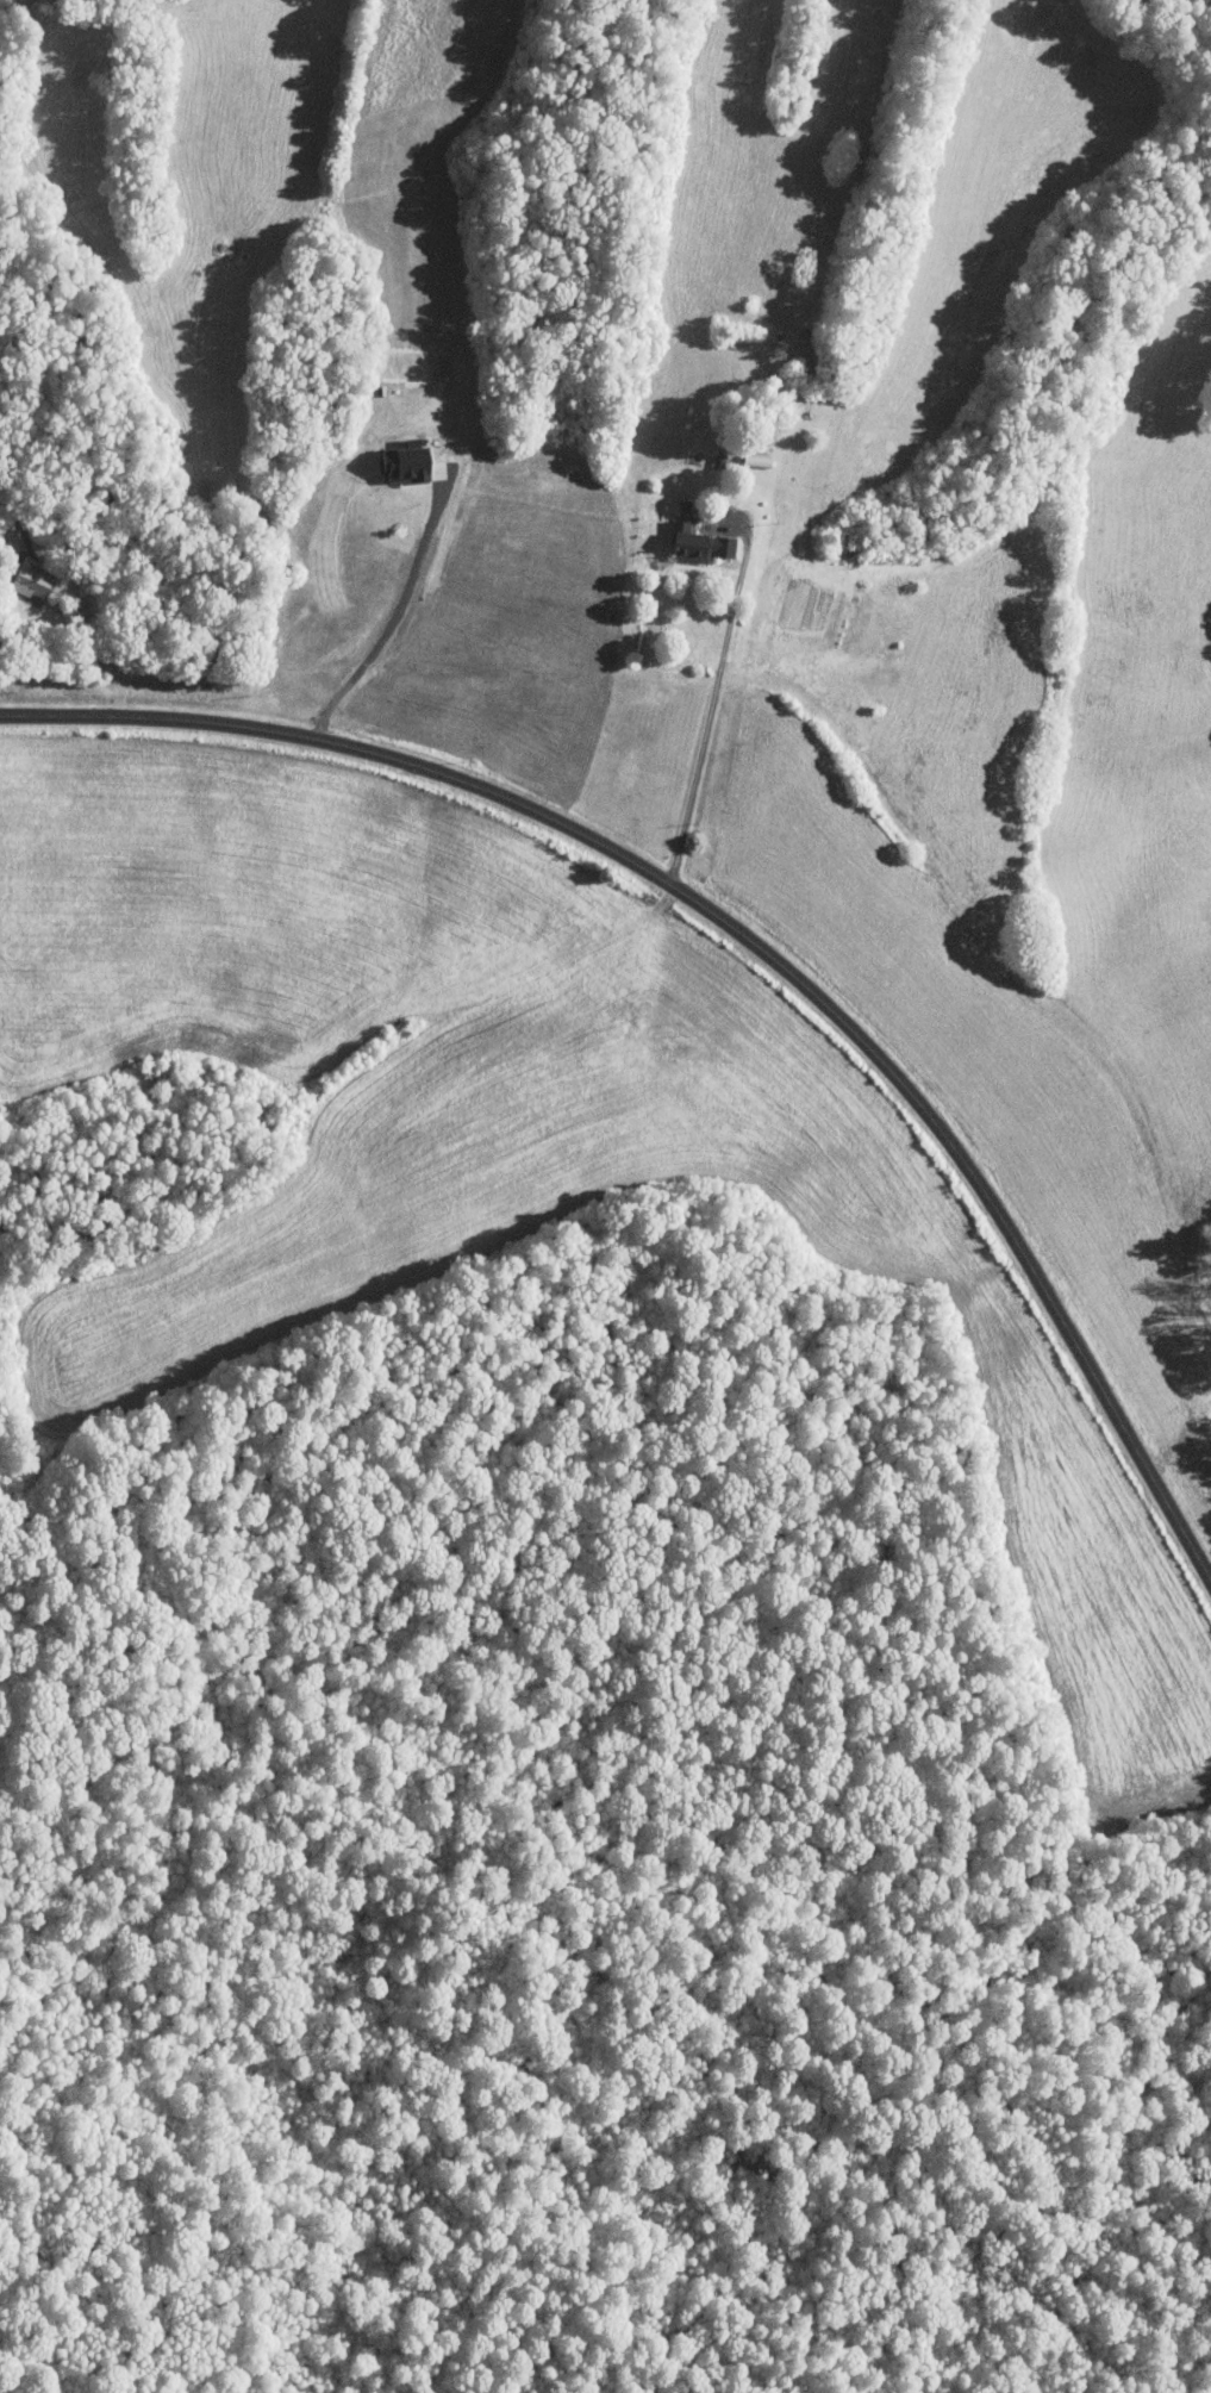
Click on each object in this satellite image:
building: (411, 462)
road: (18, 522)
building: (703, 544)
building: (37, 578)
road: (392, 625)
road: (712, 703)
road: (750, 941)

